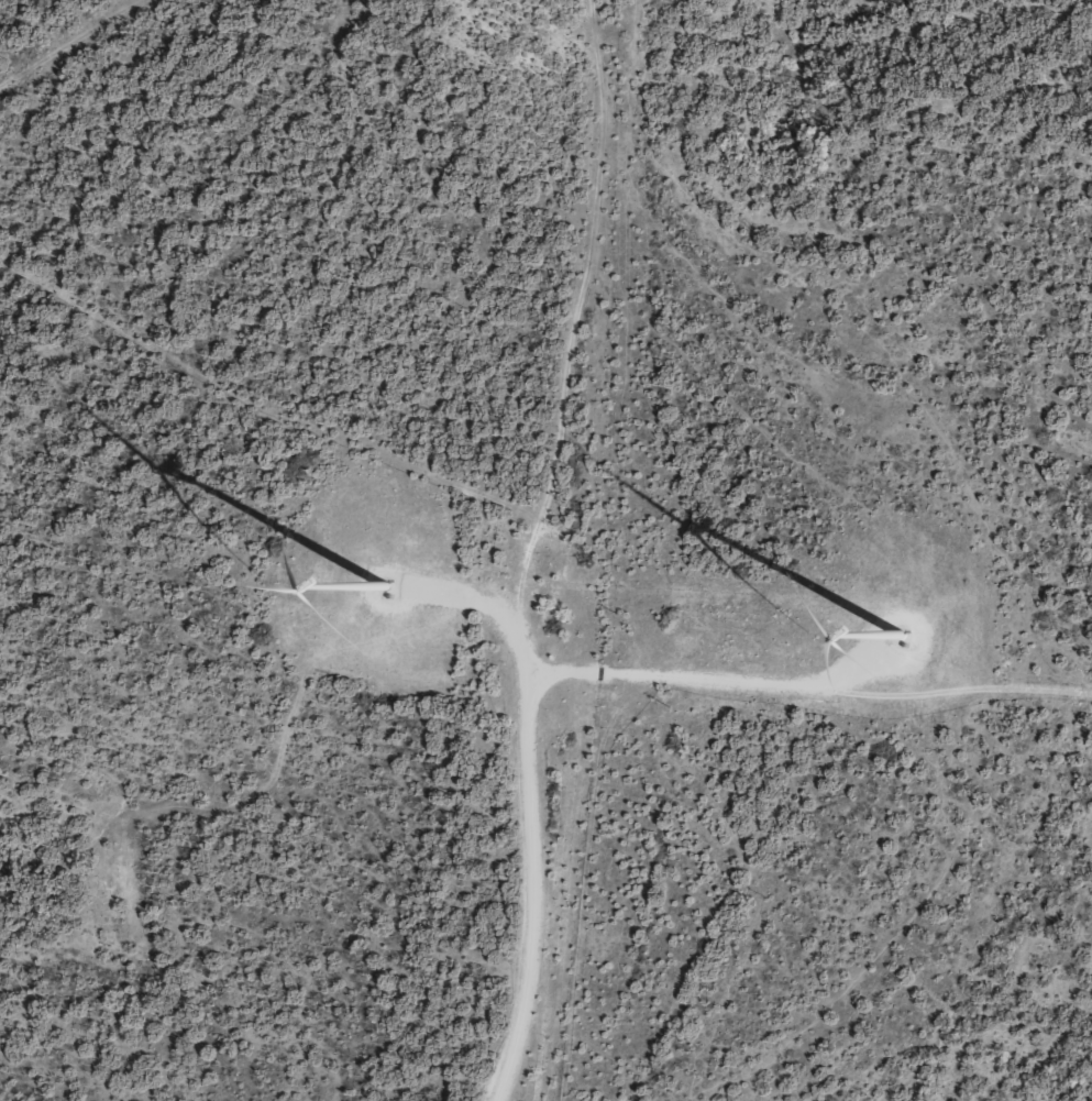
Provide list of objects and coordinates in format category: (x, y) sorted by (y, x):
road: (561, 547)
wind turbine: (396, 592)
wind turbine: (906, 632)

